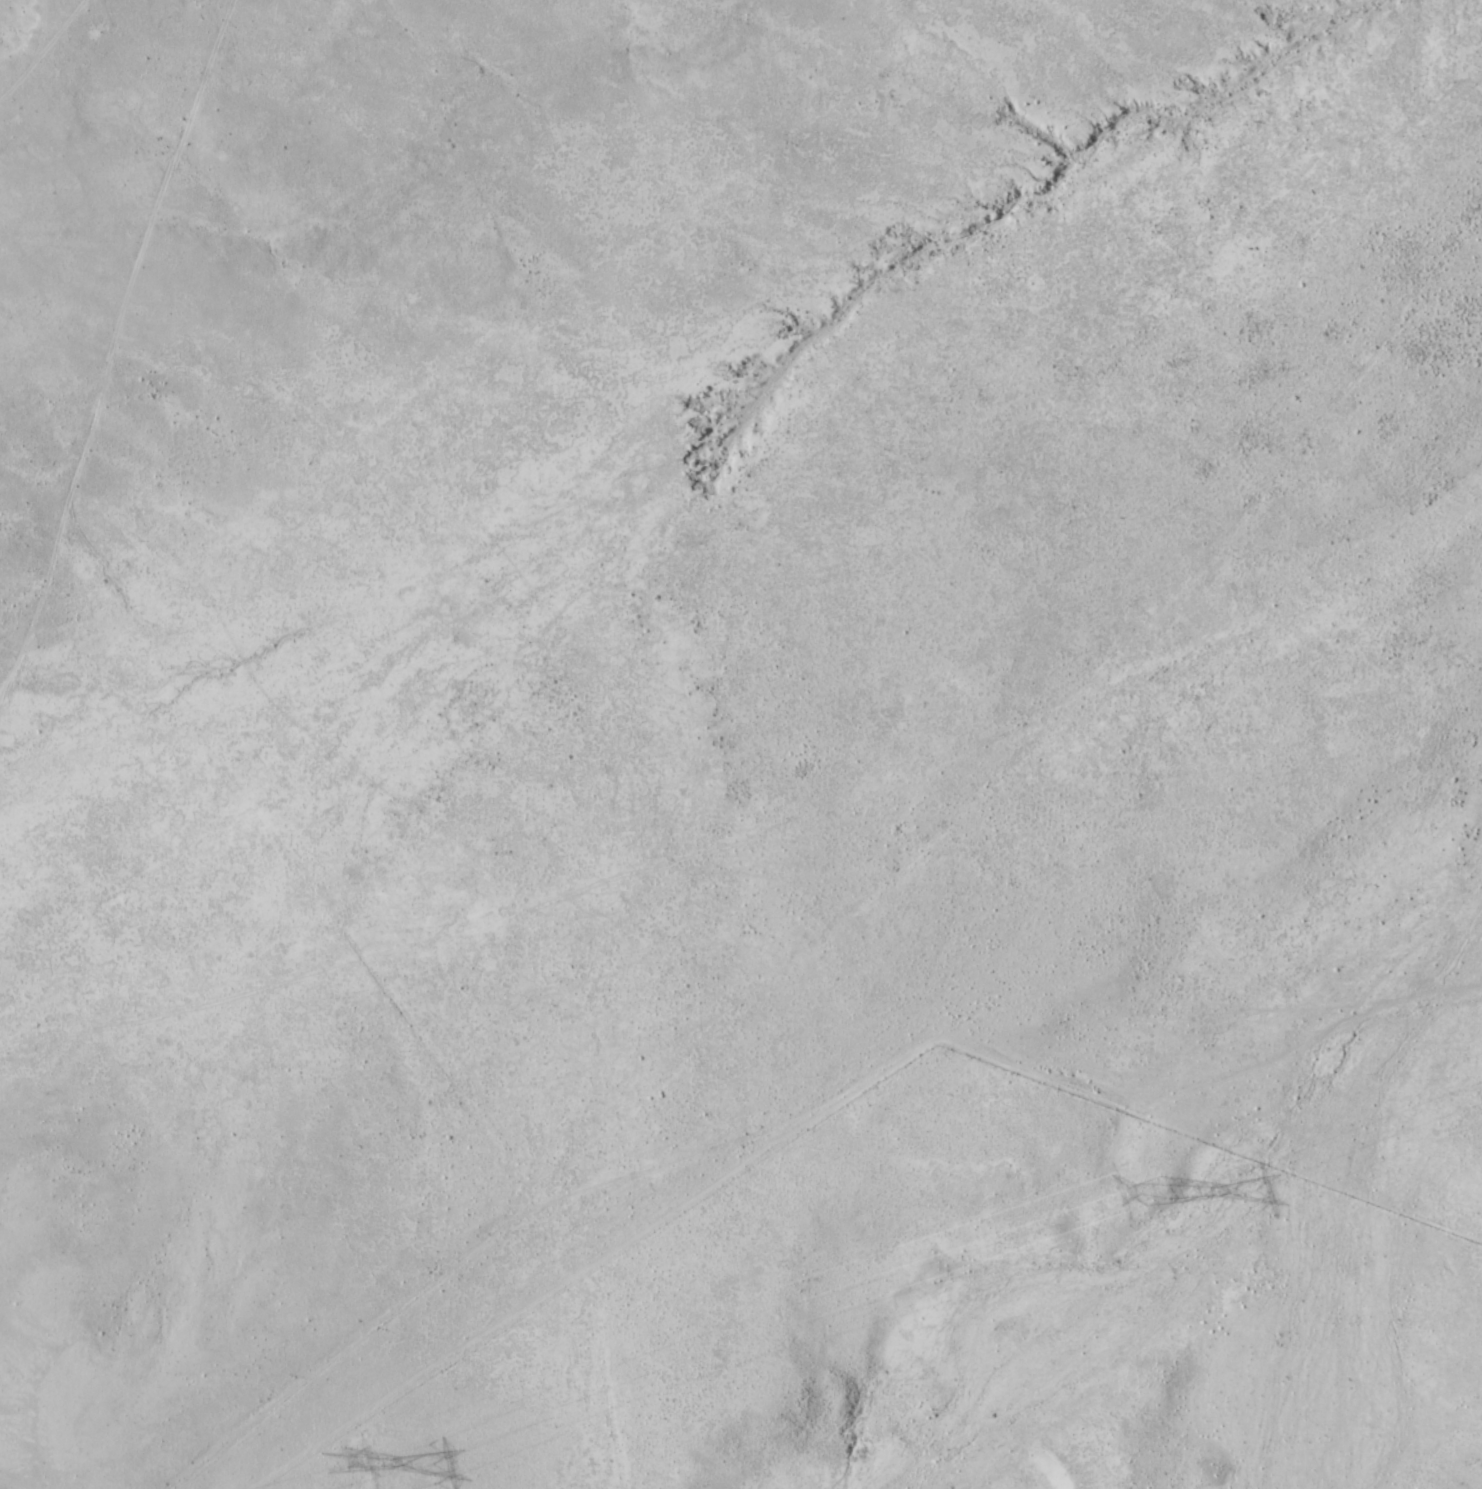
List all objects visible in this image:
road: (143, 358)
road: (779, 961)
road: (952, 1082)
power tower: (1145, 1187)
power tower: (328, 1459)

